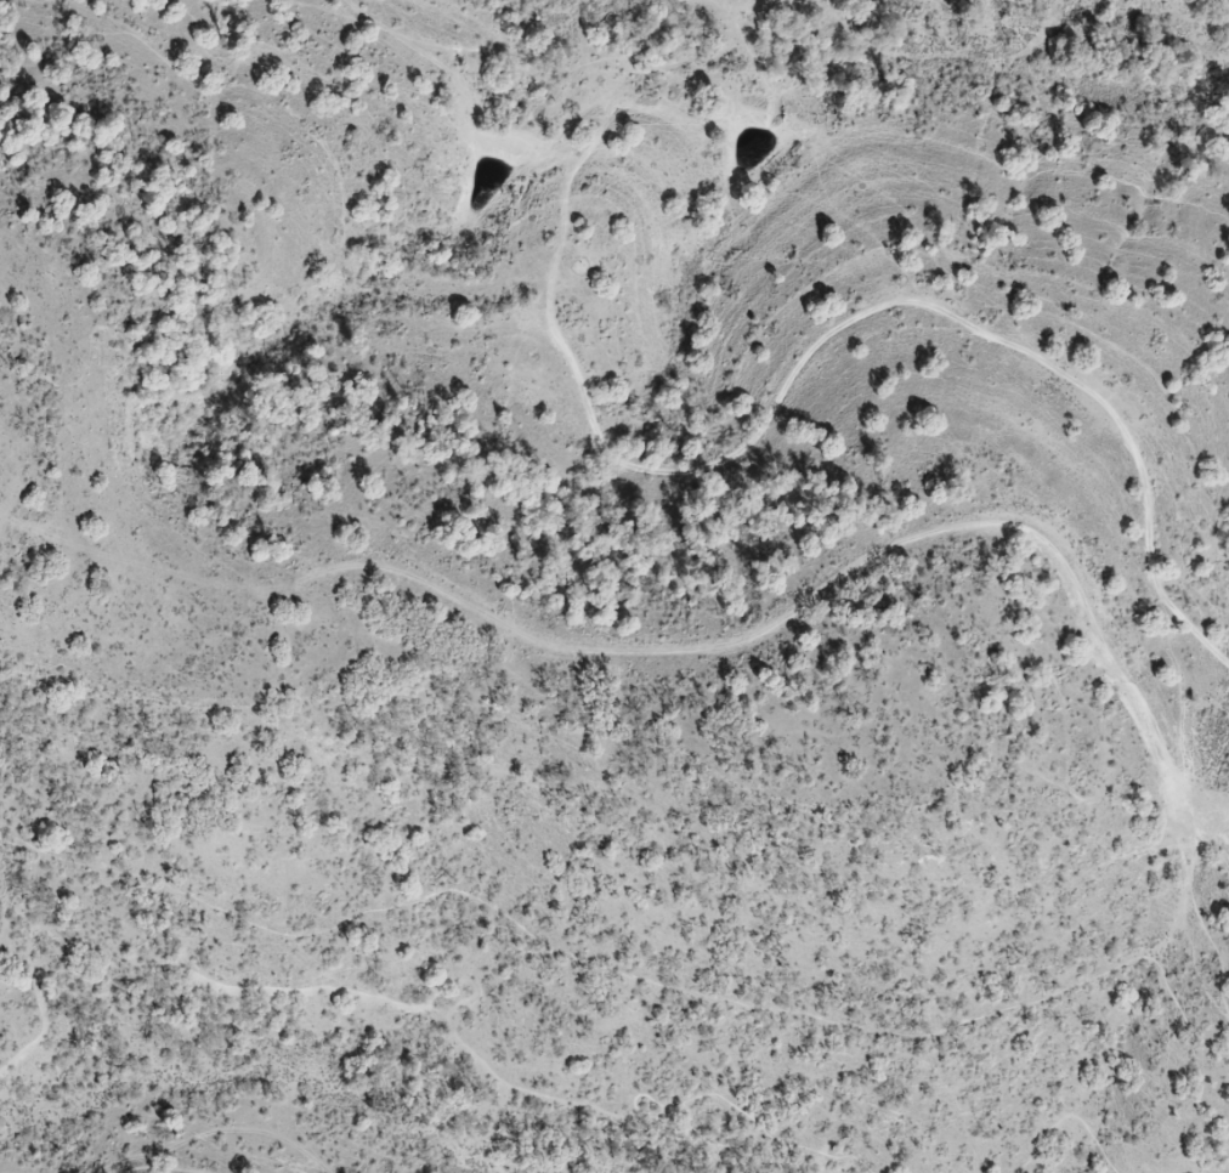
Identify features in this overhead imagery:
road: (627, 974)
road: (687, 1100)
road: (1065, 1117)

